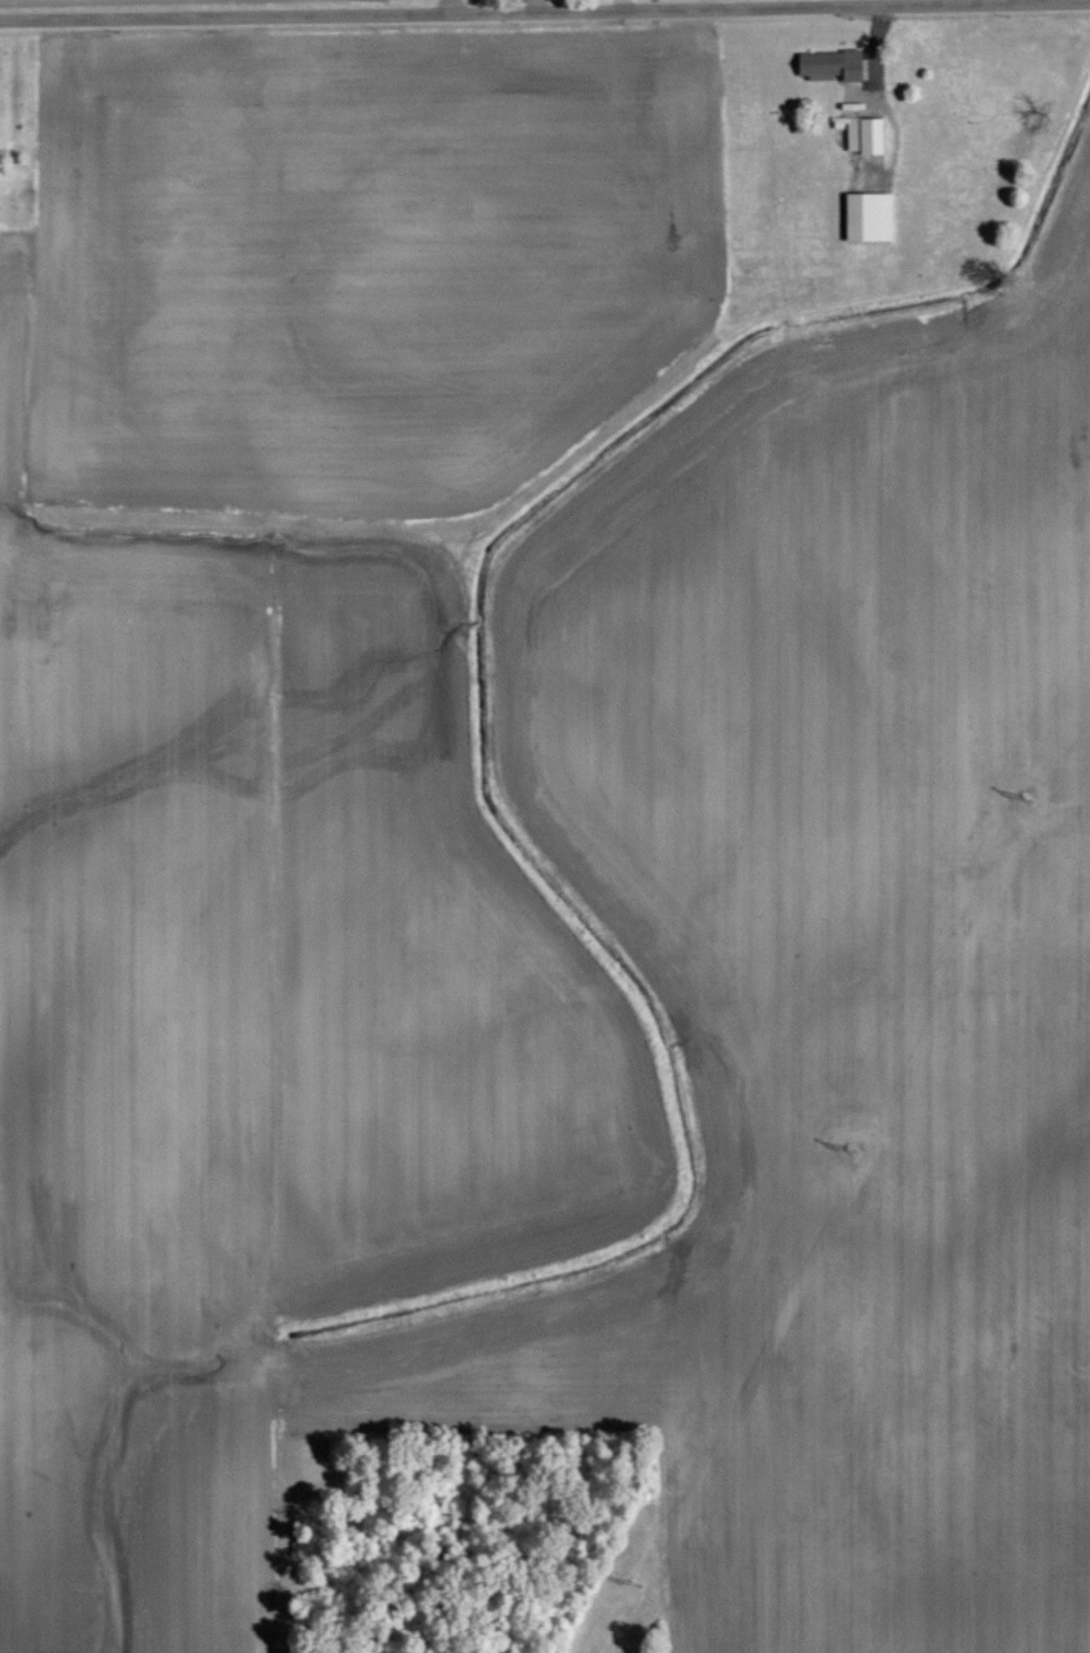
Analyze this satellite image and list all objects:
road: (227, 5)
building: (831, 65)
building: (863, 132)
building: (862, 216)
power tower: (1029, 799)
power tower: (855, 1149)
power tower: (637, 1584)

